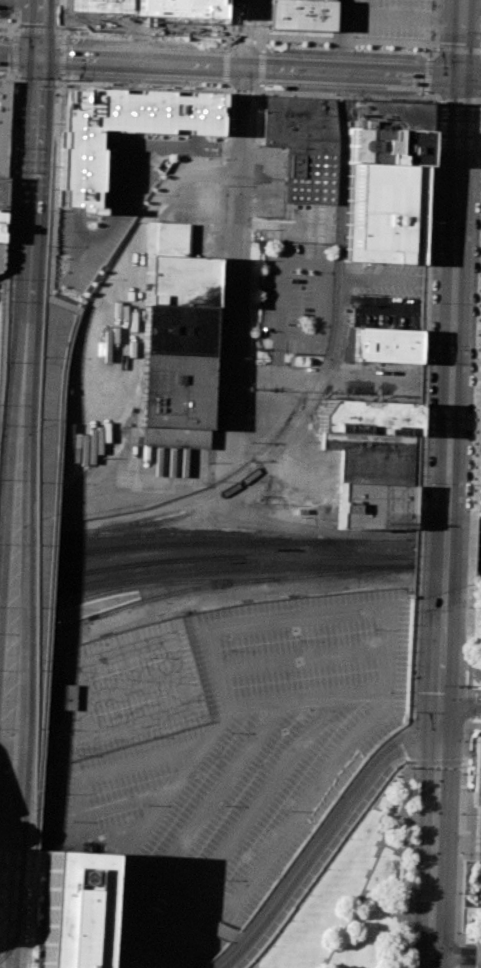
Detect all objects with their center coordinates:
road: (20, 4)
parking lot: (6, 8)
building: (147, 8)
road: (60, 13)
building: (300, 14)
road: (15, 18)
parking lot: (392, 18)
road: (227, 20)
railway: (30, 28)
road: (38, 28)
railway: (50, 28)
road: (143, 30)
road: (348, 36)
road: (461, 37)
road: (128, 38)
road: (261, 38)
road: (351, 39)
road: (243, 40)
street lamp: (322, 45)
street lamp: (430, 47)
road: (352, 49)
road: (432, 49)
road: (456, 49)
road: (13, 51)
street lamp: (425, 51)
road: (58, 54)
road: (18, 55)
traffic signals: (37, 56)
road: (223, 65)
road: (248, 66)
road: (259, 66)
road: (427, 75)
traffic signals: (461, 76)
road: (471, 76)
road: (6, 77)
road: (35, 81)
road: (140, 86)
street lamp: (269, 90)
road: (240, 91)
street lamp: (329, 93)
road: (344, 95)
road: (455, 100)
street lamp: (438, 103)
building: (388, 118)
building: (3, 123)
building: (305, 144)
building: (386, 150)
building: (79, 173)
road: (8, 179)
railway: (21, 188)
road: (30, 190)
railway: (43, 190)
building: (2, 193)
parking lot: (117, 202)
building: (384, 211)
road: (454, 220)
street lamp: (479, 222)
street lamp: (426, 223)
street lamp: (430, 224)
building: (1, 225)
road: (426, 230)
road: (235, 234)
building: (167, 239)
building: (0, 255)
road: (297, 263)
building: (178, 279)
parking lot: (297, 296)
road: (1, 300)
street lamp: (427, 302)
parking lot: (385, 310)
road: (479, 318)
building: (180, 329)
building: (384, 345)
building: (480, 354)
street lamp: (424, 363)
street lamp: (473, 365)
railway: (5, 372)
road: (341, 379)
road: (466, 385)
building: (174, 400)
railway: (310, 403)
building: (366, 417)
building: (372, 457)
building: (478, 472)
road: (472, 474)
road: (446, 479)
road: (417, 481)
street lamp: (468, 486)
street lamp: (420, 487)
railway: (27, 494)
road: (16, 499)
building: (374, 506)
railway: (165, 533)
railway: (99, 534)
railway: (23, 540)
railway: (239, 542)
railway: (239, 556)
railway: (452, 566)
railway: (209, 569)
railway: (349, 570)
railway: (135, 585)
railway: (139, 595)
railway: (136, 602)
street lamp: (463, 607)
street lamp: (416, 609)
road: (346, 612)
road: (467, 619)
road: (440, 652)
road: (459, 653)
road: (305, 657)
road: (411, 659)
road: (469, 664)
road: (468, 681)
street lamp: (464, 685)
building: (66, 696)
street lamp: (408, 702)
road: (468, 703)
road: (257, 705)
road: (460, 709)
traffic signals: (439, 712)
road: (466, 720)
road: (405, 739)
street lamp: (462, 740)
road: (2, 742)
road: (3, 744)
parking lot: (215, 757)
road: (399, 760)
road: (462, 761)
road: (435, 762)
street lamp: (461, 773)
building: (478, 773)
road: (88, 777)
street lamp: (410, 778)
road: (269, 789)
railway: (21, 791)
road: (123, 806)
street lamp: (371, 808)
road: (381, 811)
street lamp: (459, 813)
street lamp: (409, 814)
road: (290, 827)
street lamp: (380, 834)
road: (326, 836)
road: (461, 838)
street lamp: (349, 839)
road: (434, 839)
road: (391, 850)
street lamp: (407, 850)
street lamp: (390, 852)
street lamp: (458, 853)
street lamp: (371, 854)
road: (326, 861)
road: (402, 863)
road: (404, 864)
building: (480, 864)
street lamp: (326, 869)
road: (362, 884)
street lamp: (366, 890)
road: (134, 891)
street lamp: (405, 891)
street lamp: (457, 893)
street lamp: (308, 894)
road: (171, 900)
street lamp: (387, 900)
park: (352, 902)
road: (167, 908)
building: (67, 910)
street lamp: (289, 919)
road: (218, 929)
street lamp: (404, 929)
street lamp: (455, 932)
road: (164, 933)
railway: (10, 937)
railway: (12, 942)
road: (116, 944)
street lamp: (270, 945)
street lamp: (335, 950)
street lamp: (253, 967)

